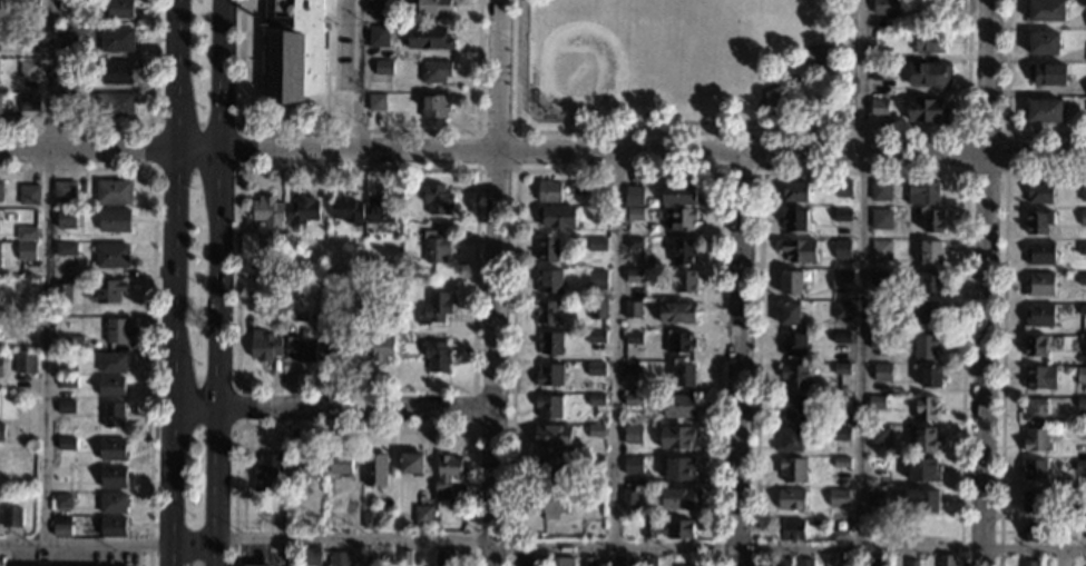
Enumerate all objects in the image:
building: (30, 4)
building: (380, 4)
building: (68, 6)
building: (884, 7)
building: (436, 8)
building: (120, 9)
building: (1046, 10)
building: (887, 21)
building: (378, 36)
building: (428, 37)
building: (28, 38)
building: (117, 40)
building: (930, 40)
building: (1043, 42)
building: (67, 43)
building: (292, 51)
building: (881, 54)
park: (612, 58)
building: (383, 67)
building: (29, 69)
building: (67, 69)
building: (437, 71)
building: (880, 71)
building: (117, 72)
building: (928, 72)
building: (1048, 73)
road: (358, 77)
road: (764, 87)
building: (29, 101)
building: (376, 102)
building: (65, 103)
building: (112, 103)
building: (0, 105)
building: (436, 106)
building: (879, 107)
road: (1005, 107)
building: (926, 110)
building: (1044, 110)
road: (139, 127)
road: (359, 130)
road: (742, 132)
road: (542, 153)
road: (238, 167)
road: (513, 170)
road: (617, 170)
road: (741, 171)
road: (862, 172)
road: (1002, 172)
building: (577, 188)
building: (843, 188)
building: (1, 189)
building: (880, 190)
building: (65, 191)
building: (548, 191)
building: (794, 191)
building: (922, 191)
building: (1083, 191)
building: (114, 192)
building: (1039, 192)
building: (678, 193)
building: (29, 195)
building: (629, 195)
building: (436, 198)
building: (380, 209)
building: (267, 210)
building: (302, 210)
building: (346, 210)
building: (636, 214)
building: (599, 215)
building: (841, 215)
building: (556, 216)
building: (677, 217)
building: (1083, 217)
building: (881, 218)
building: (66, 219)
building: (795, 219)
building: (114, 220)
building: (932, 220)
building: (1038, 221)
building: (27, 234)
building: (634, 242)
building: (0, 245)
building: (597, 245)
building: (436, 246)
building: (841, 248)
building: (1082, 248)
building: (66, 249)
building: (547, 249)
building: (880, 249)
building: (799, 250)
building: (26, 251)
building: (683, 251)
building: (930, 251)
building: (1040, 252)
building: (111, 256)
building: (288, 258)
building: (267, 266)
road: (46, 271)
road: (176, 272)
building: (598, 272)
road: (862, 272)
building: (634, 275)
building: (841, 276)
building: (879, 277)
building: (1082, 278)
building: (549, 280)
building: (686, 280)
building: (790, 281)
building: (930, 281)
road: (221, 282)
building: (353, 282)
road: (497, 282)
road: (986, 282)
building: (371, 284)
building: (404, 284)
building: (1039, 284)
building: (26, 288)
building: (107, 290)
road: (151, 290)
building: (62, 292)
building: (596, 295)
building: (434, 307)
building: (598, 309)
building: (633, 309)
building: (1082, 309)
building: (841, 310)
building: (878, 310)
building: (547, 311)
building: (677, 311)
building: (790, 314)
building: (928, 314)
building: (1039, 315)
building: (288, 317)
road: (1002, 328)
building: (117, 330)
building: (596, 337)
building: (633, 337)
building: (841, 337)
building: (877, 340)
building: (1083, 341)
building: (75, 342)
building: (550, 342)
building: (681, 342)
building: (794, 344)
building: (265, 345)
building: (1036, 345)
building: (378, 346)
building: (926, 346)
building: (344, 347)
building: (300, 349)
road: (616, 351)
building: (436, 355)
road: (740, 360)
building: (67, 361)
building: (111, 363)
building: (25, 364)
building: (1, 365)
building: (596, 368)
building: (632, 368)
building: (841, 368)
building: (882, 371)
building: (549, 374)
building: (685, 375)
building: (1080, 375)
building: (795, 376)
building: (931, 376)
building: (1040, 377)
building: (67, 381)
building: (110, 386)
road: (472, 388)
building: (596, 398)
building: (633, 398)
building: (839, 400)
building: (877, 400)
building: (1080, 403)
building: (548, 406)
building: (678, 406)
building: (66, 407)
road: (236, 407)
building: (793, 408)
building: (926, 409)
building: (1034, 409)
road: (335, 410)
building: (114, 414)
road: (352, 426)
road: (472, 427)
building: (596, 430)
building: (1, 431)
building: (1082, 433)
building: (633, 434)
building: (841, 434)
building: (551, 435)
building: (879, 435)
building: (677, 437)
building: (791, 439)
building: (1038, 439)
building: (924, 440)
building: (67, 444)
building: (112, 449)
building: (18, 455)
building: (595, 460)
building: (841, 460)
building: (411, 463)
building: (633, 464)
building: (341, 465)
building: (1079, 465)
building: (878, 466)
building: (304, 468)
building: (548, 468)
building: (678, 468)
building: (375, 469)
building: (792, 469)
building: (1034, 469)
building: (265, 470)
building: (923, 470)
building: (447, 474)
building: (112, 477)
building: (629, 496)
building: (838, 497)
building: (678, 498)
building: (874, 498)
building: (792, 499)
building: (1034, 500)
building: (62, 502)
building: (921, 502)
building: (550, 503)
building: (112, 504)
building: (1080, 508)
building: (423, 514)
building: (11, 517)
building: (334, 519)
building: (369, 519)
building: (61, 526)
building: (114, 527)
building: (593, 528)
building: (668, 528)
building: (790, 529)
building: (1036, 530)
building: (840, 534)
building: (1080, 535)
road: (334, 540)
road: (87, 545)
road: (790, 547)
road: (174, 556)
building: (310, 556)
building: (404, 557)
building: (444, 557)
building: (339, 558)
building: (369, 558)
building: (537, 559)
building: (946, 559)
building: (618, 560)
building: (650, 560)
building: (849, 560)
building: (561, 562)
building: (588, 562)
building: (784, 562)
building: (803, 562)
building: (911, 563)
building: (1029, 563)
building: (255, 564)
building: (879, 564)

